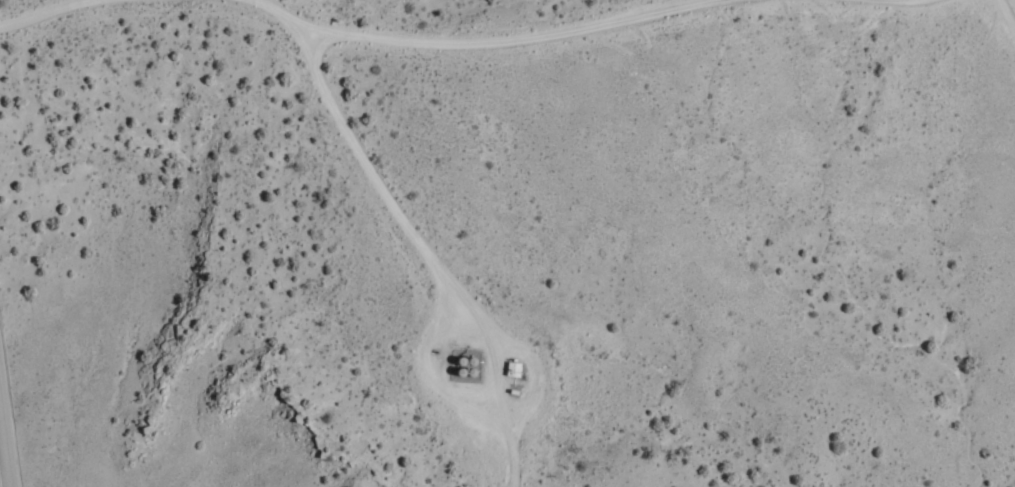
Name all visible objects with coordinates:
road: (37, 12)
road: (478, 39)
road: (431, 250)

